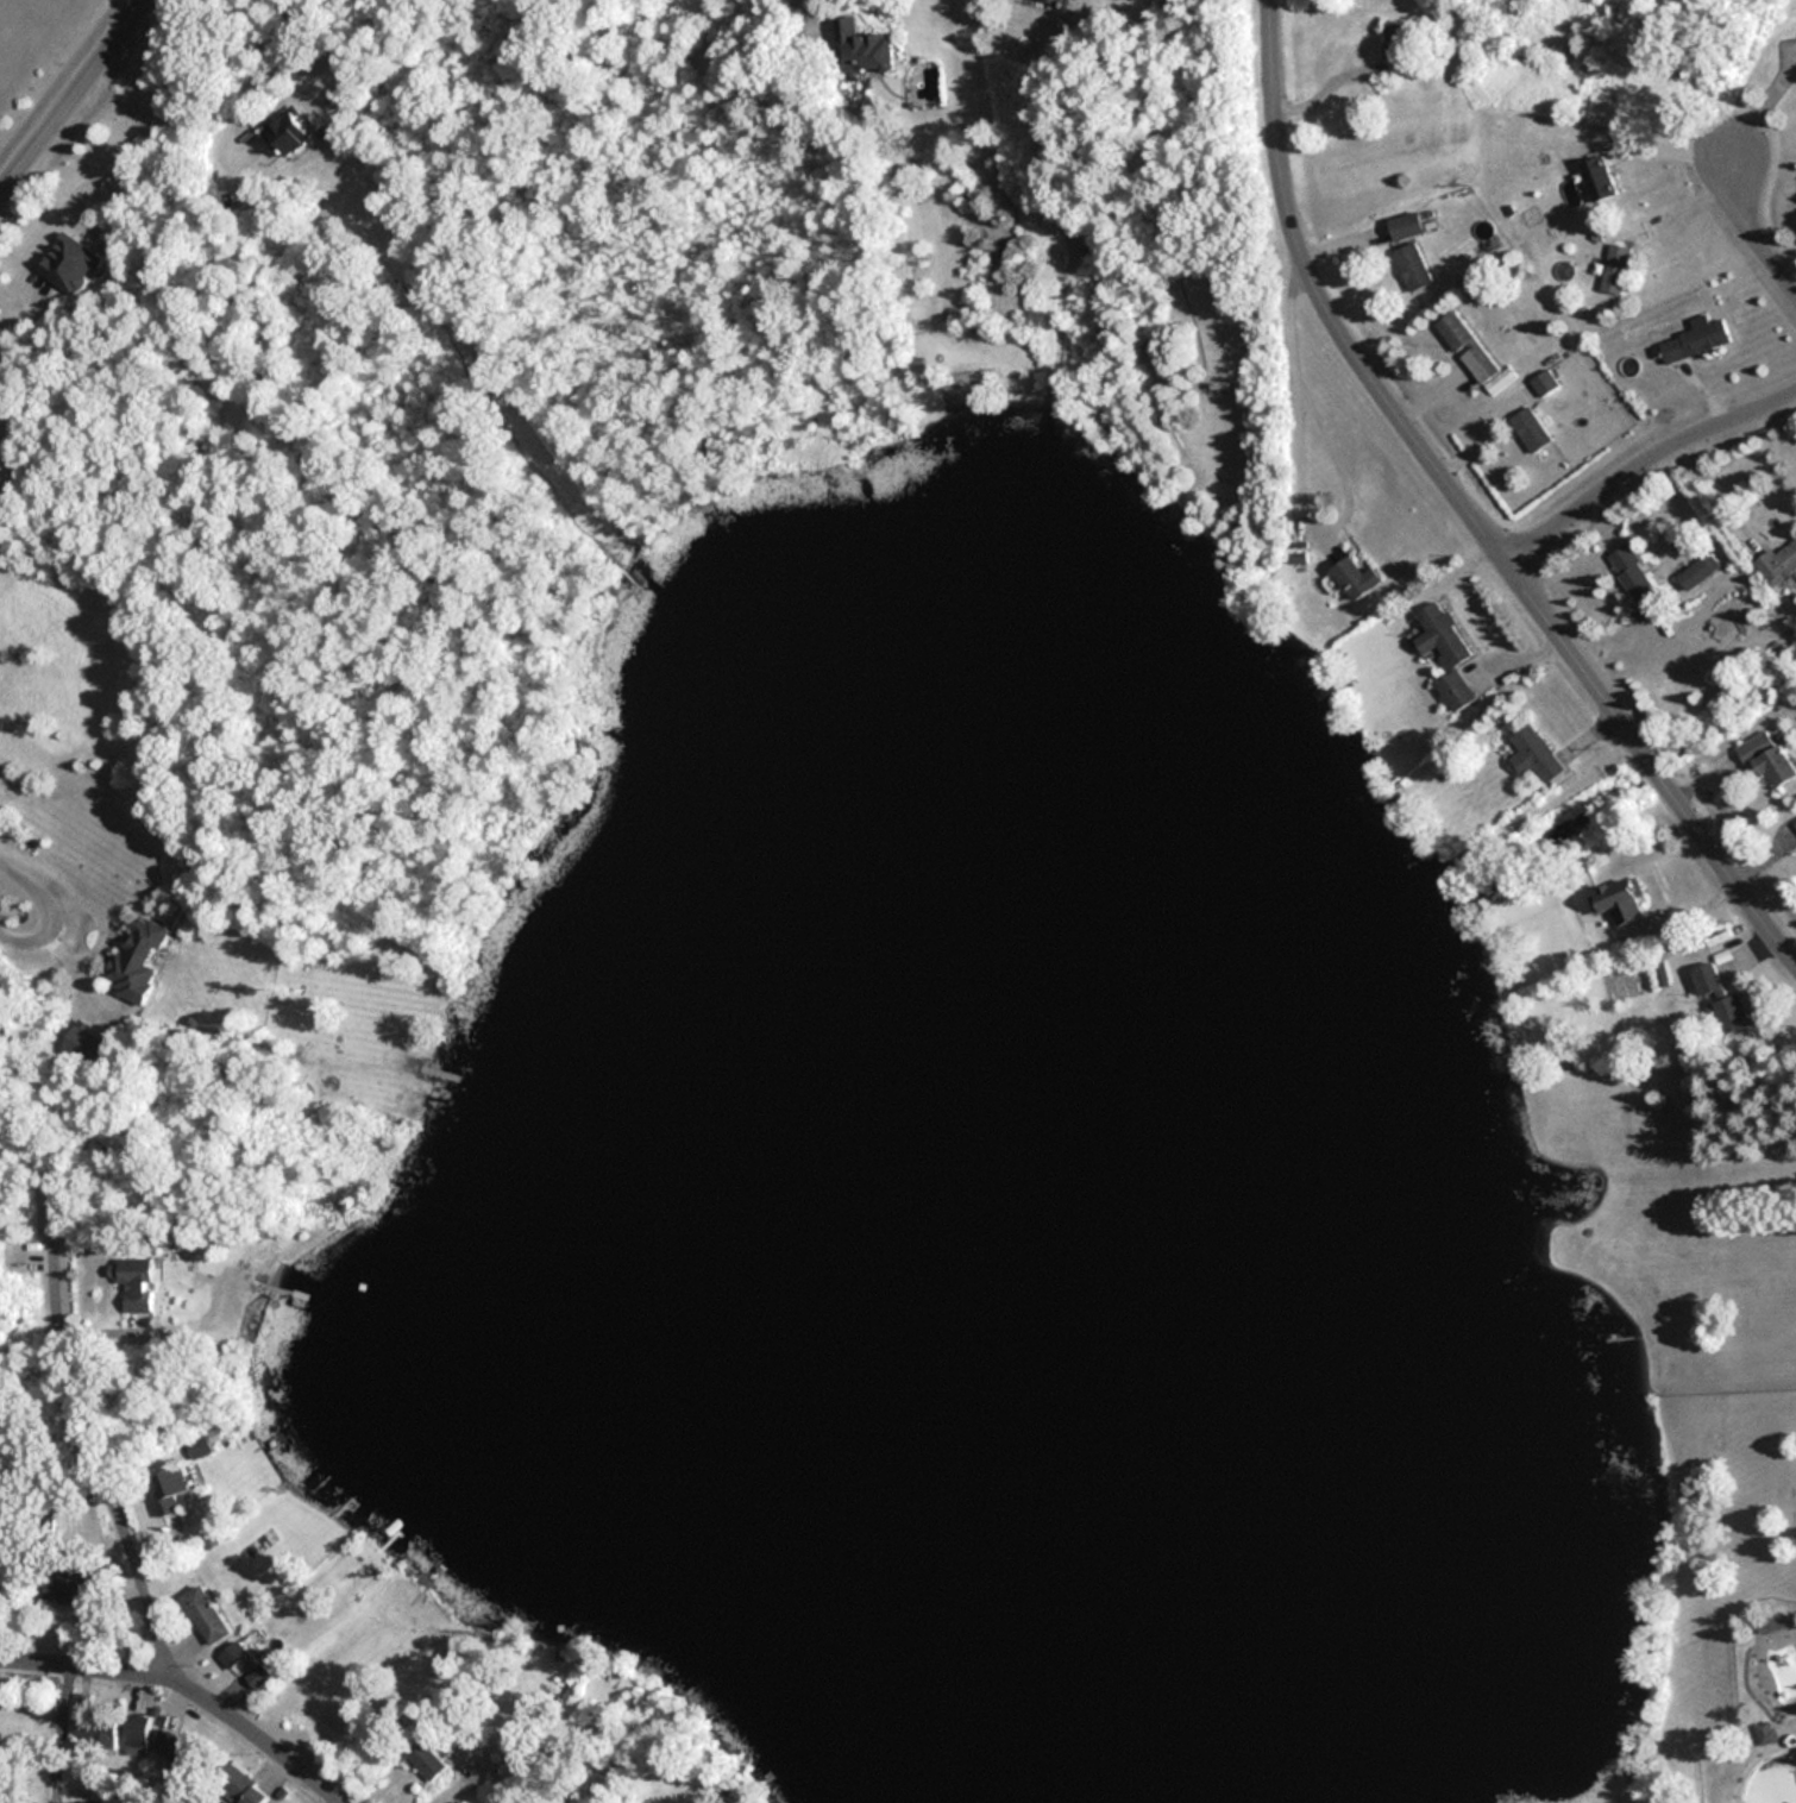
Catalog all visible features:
building: (1061, 0)
park: (18, 21)
building: (1396, 40)
building: (862, 48)
road: (255, 68)
road: (68, 96)
road: (1758, 101)
building: (285, 132)
building: (1633, 171)
building: (1596, 177)
building: (1137, 216)
road: (1753, 222)
building: (1405, 226)
building: (69, 263)
building: (1412, 266)
building: (1614, 268)
building: (1695, 338)
building: (1472, 354)
road: (1293, 396)
road: (1387, 406)
building: (1530, 429)
road: (1640, 457)
road: (1714, 492)
building: (1777, 563)
building: (1697, 571)
building: (1350, 578)
building: (1633, 579)
building: (1444, 653)
building: (1769, 745)
building: (1533, 755)
road: (1653, 772)
building: (1795, 811)
building: (1795, 825)
road: (1729, 877)
building: (1622, 891)
road: (7, 897)
building: (139, 960)
building: (1708, 981)
building: (1726, 986)
building: (1732, 1013)
building: (133, 1283)
park: (1698, 1394)
building: (196, 1446)
building: (170, 1489)
road: (146, 1563)
building: (68, 1592)
building: (207, 1614)
building: (238, 1657)
road: (83, 1665)
water park: (1757, 1709)
building: (137, 1732)
building: (1764, 1732)
building: (180, 1749)
building: (426, 1760)
building: (239, 1784)

